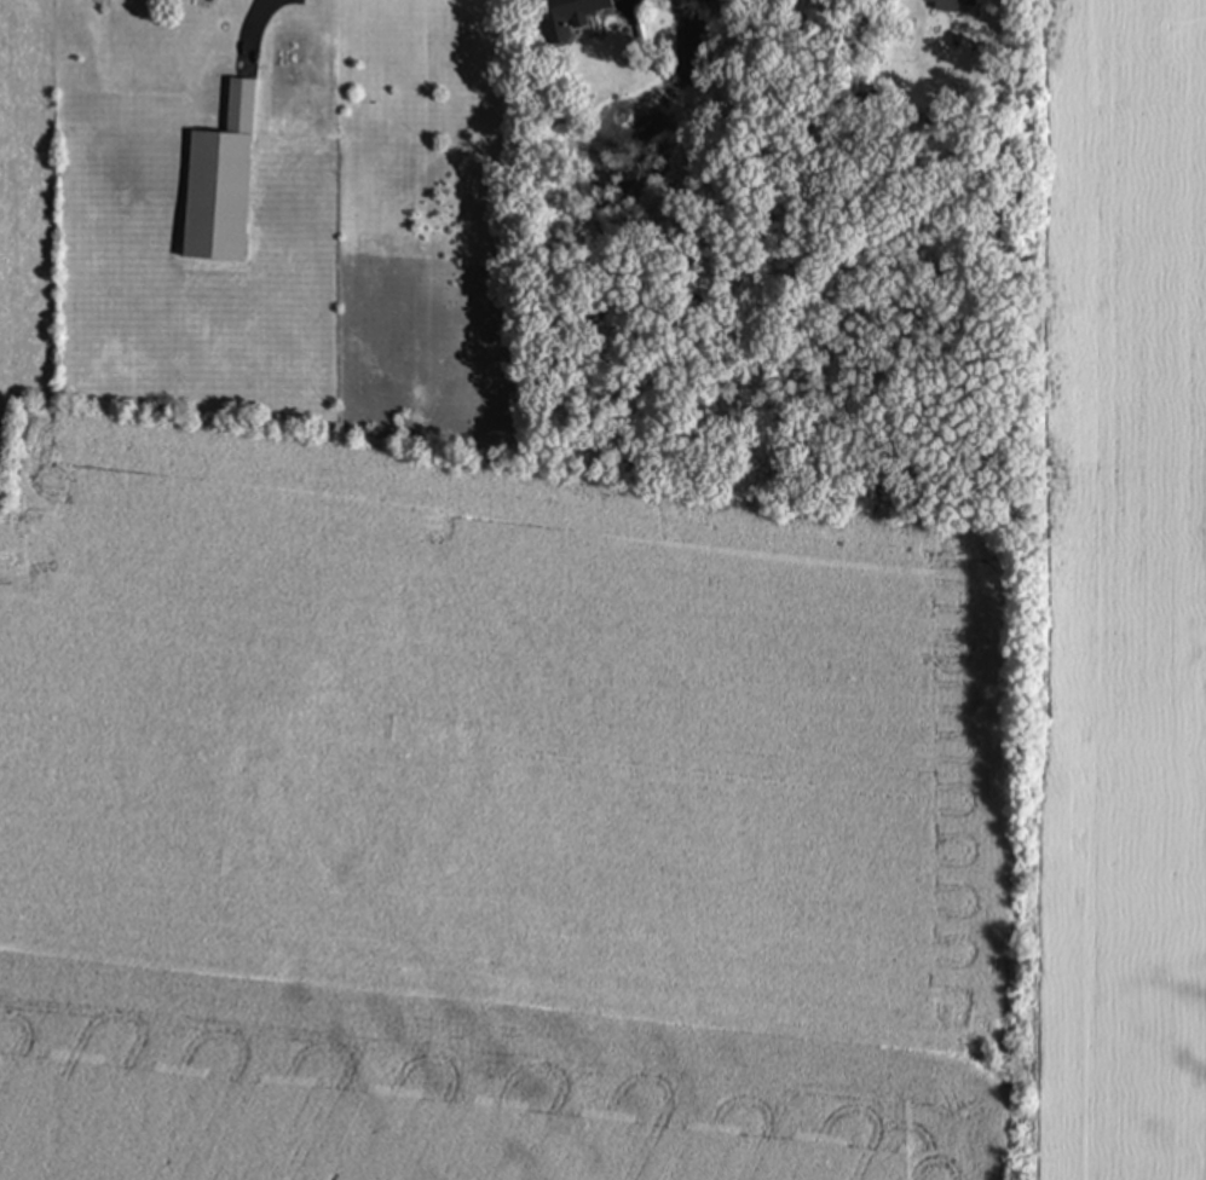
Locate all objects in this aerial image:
building: (951, 5)
building: (567, 17)
road: (254, 31)
building: (223, 184)

